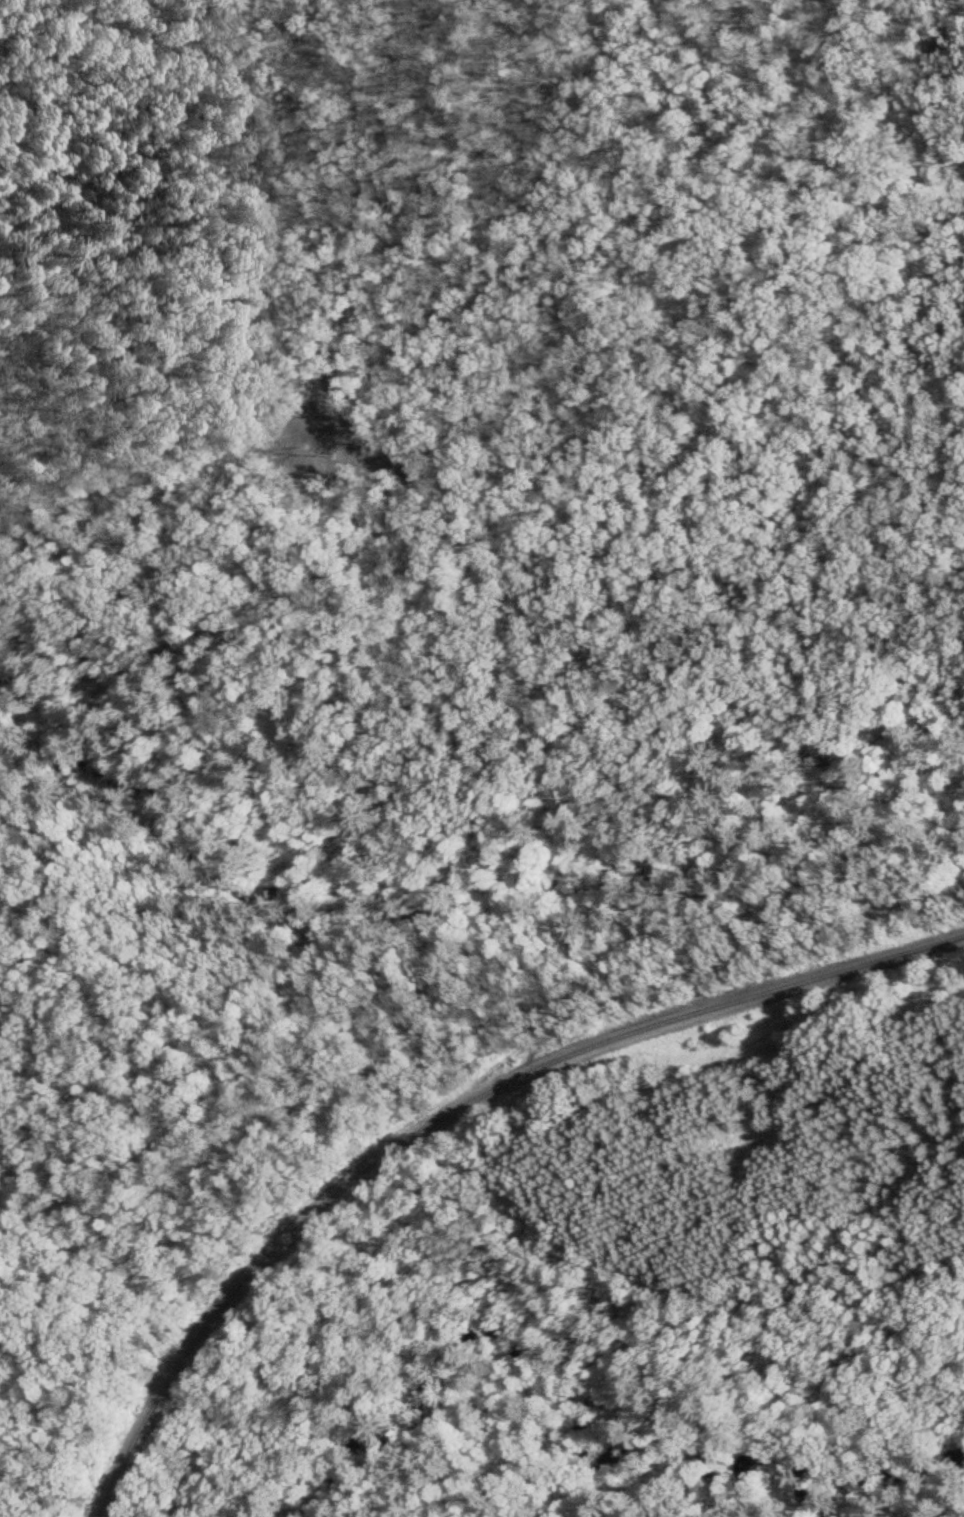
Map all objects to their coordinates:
road: (272, 286)
road: (473, 627)
building: (188, 694)
road: (435, 1040)
railway: (444, 1109)

